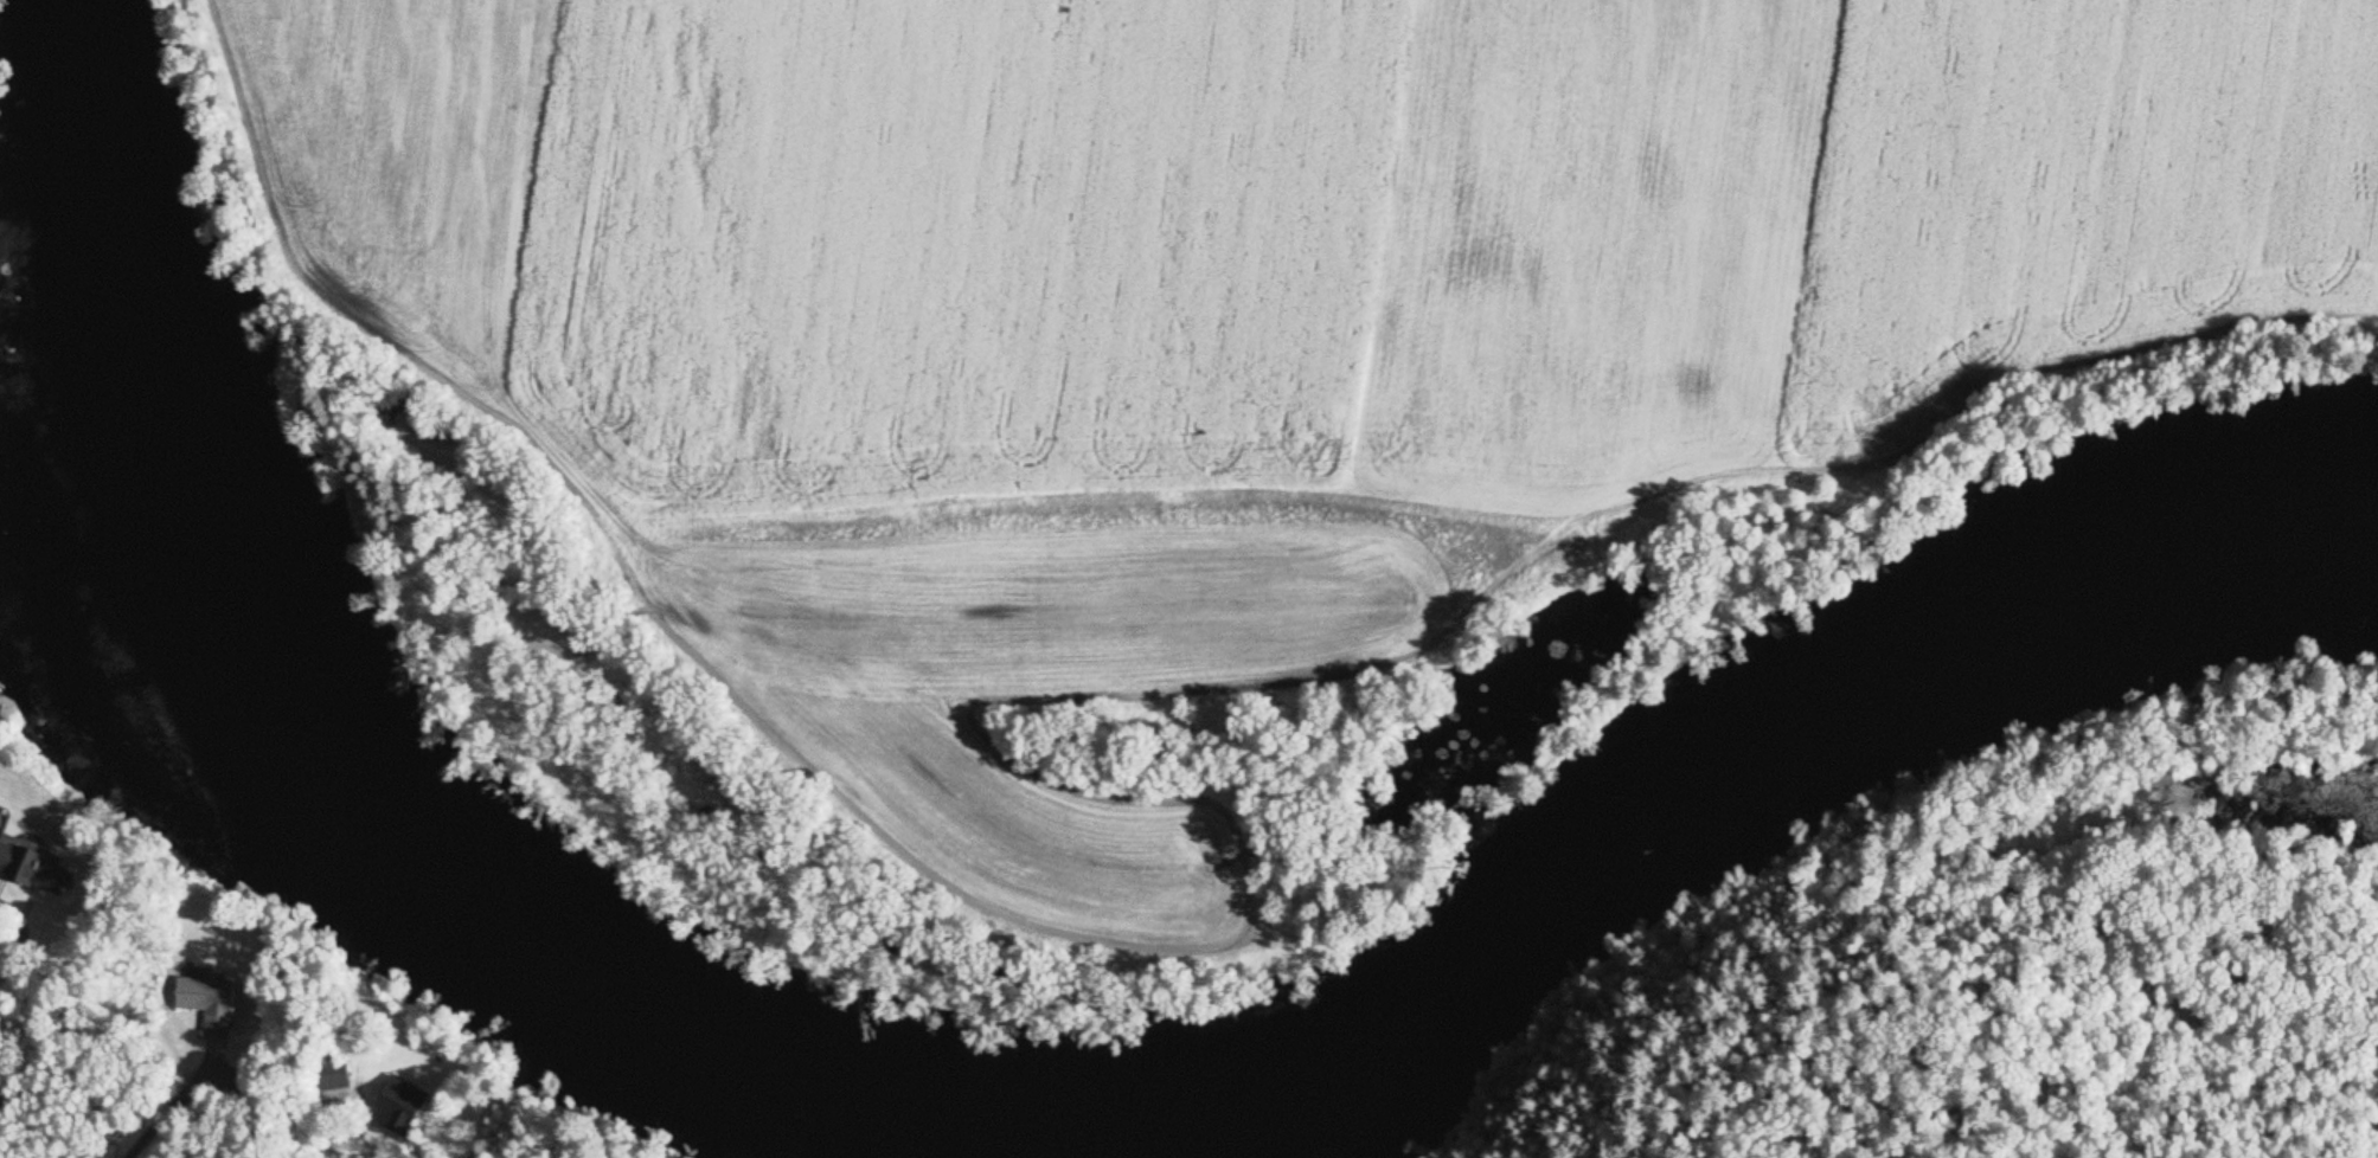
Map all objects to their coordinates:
river: (1749, 773)
river: (365, 823)
building: (5, 856)
building: (46, 877)
building: (209, 1005)
building: (333, 1076)
building: (400, 1109)

